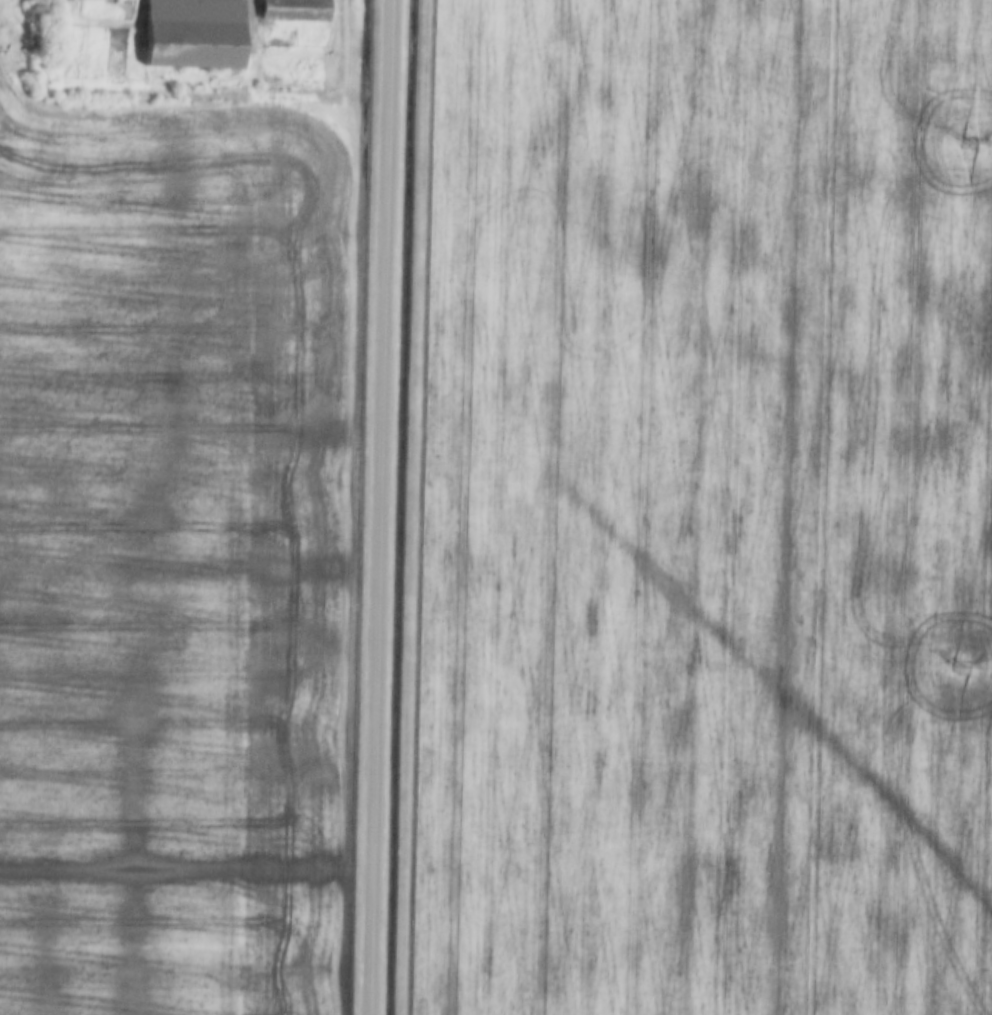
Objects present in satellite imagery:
building: (101, 8)
building: (289, 10)
building: (186, 33)
power tower: (968, 147)
road: (376, 507)
crop: (703, 511)
crop: (168, 556)
power tower: (959, 666)

